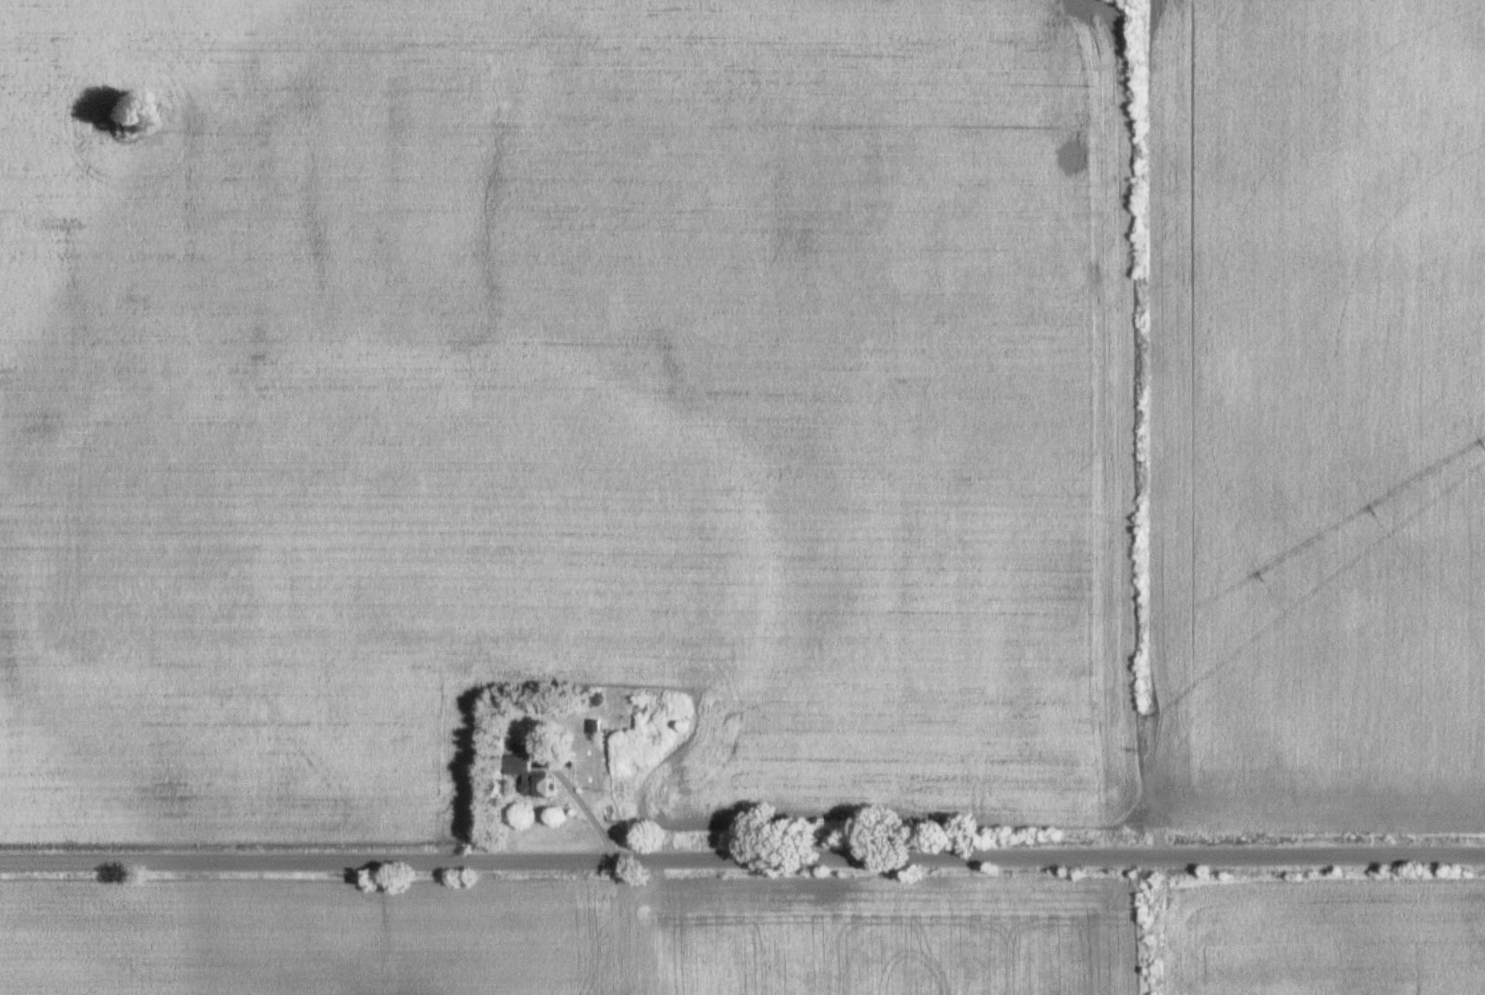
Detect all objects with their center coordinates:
building: (528, 779)
road: (577, 803)
road: (742, 857)

